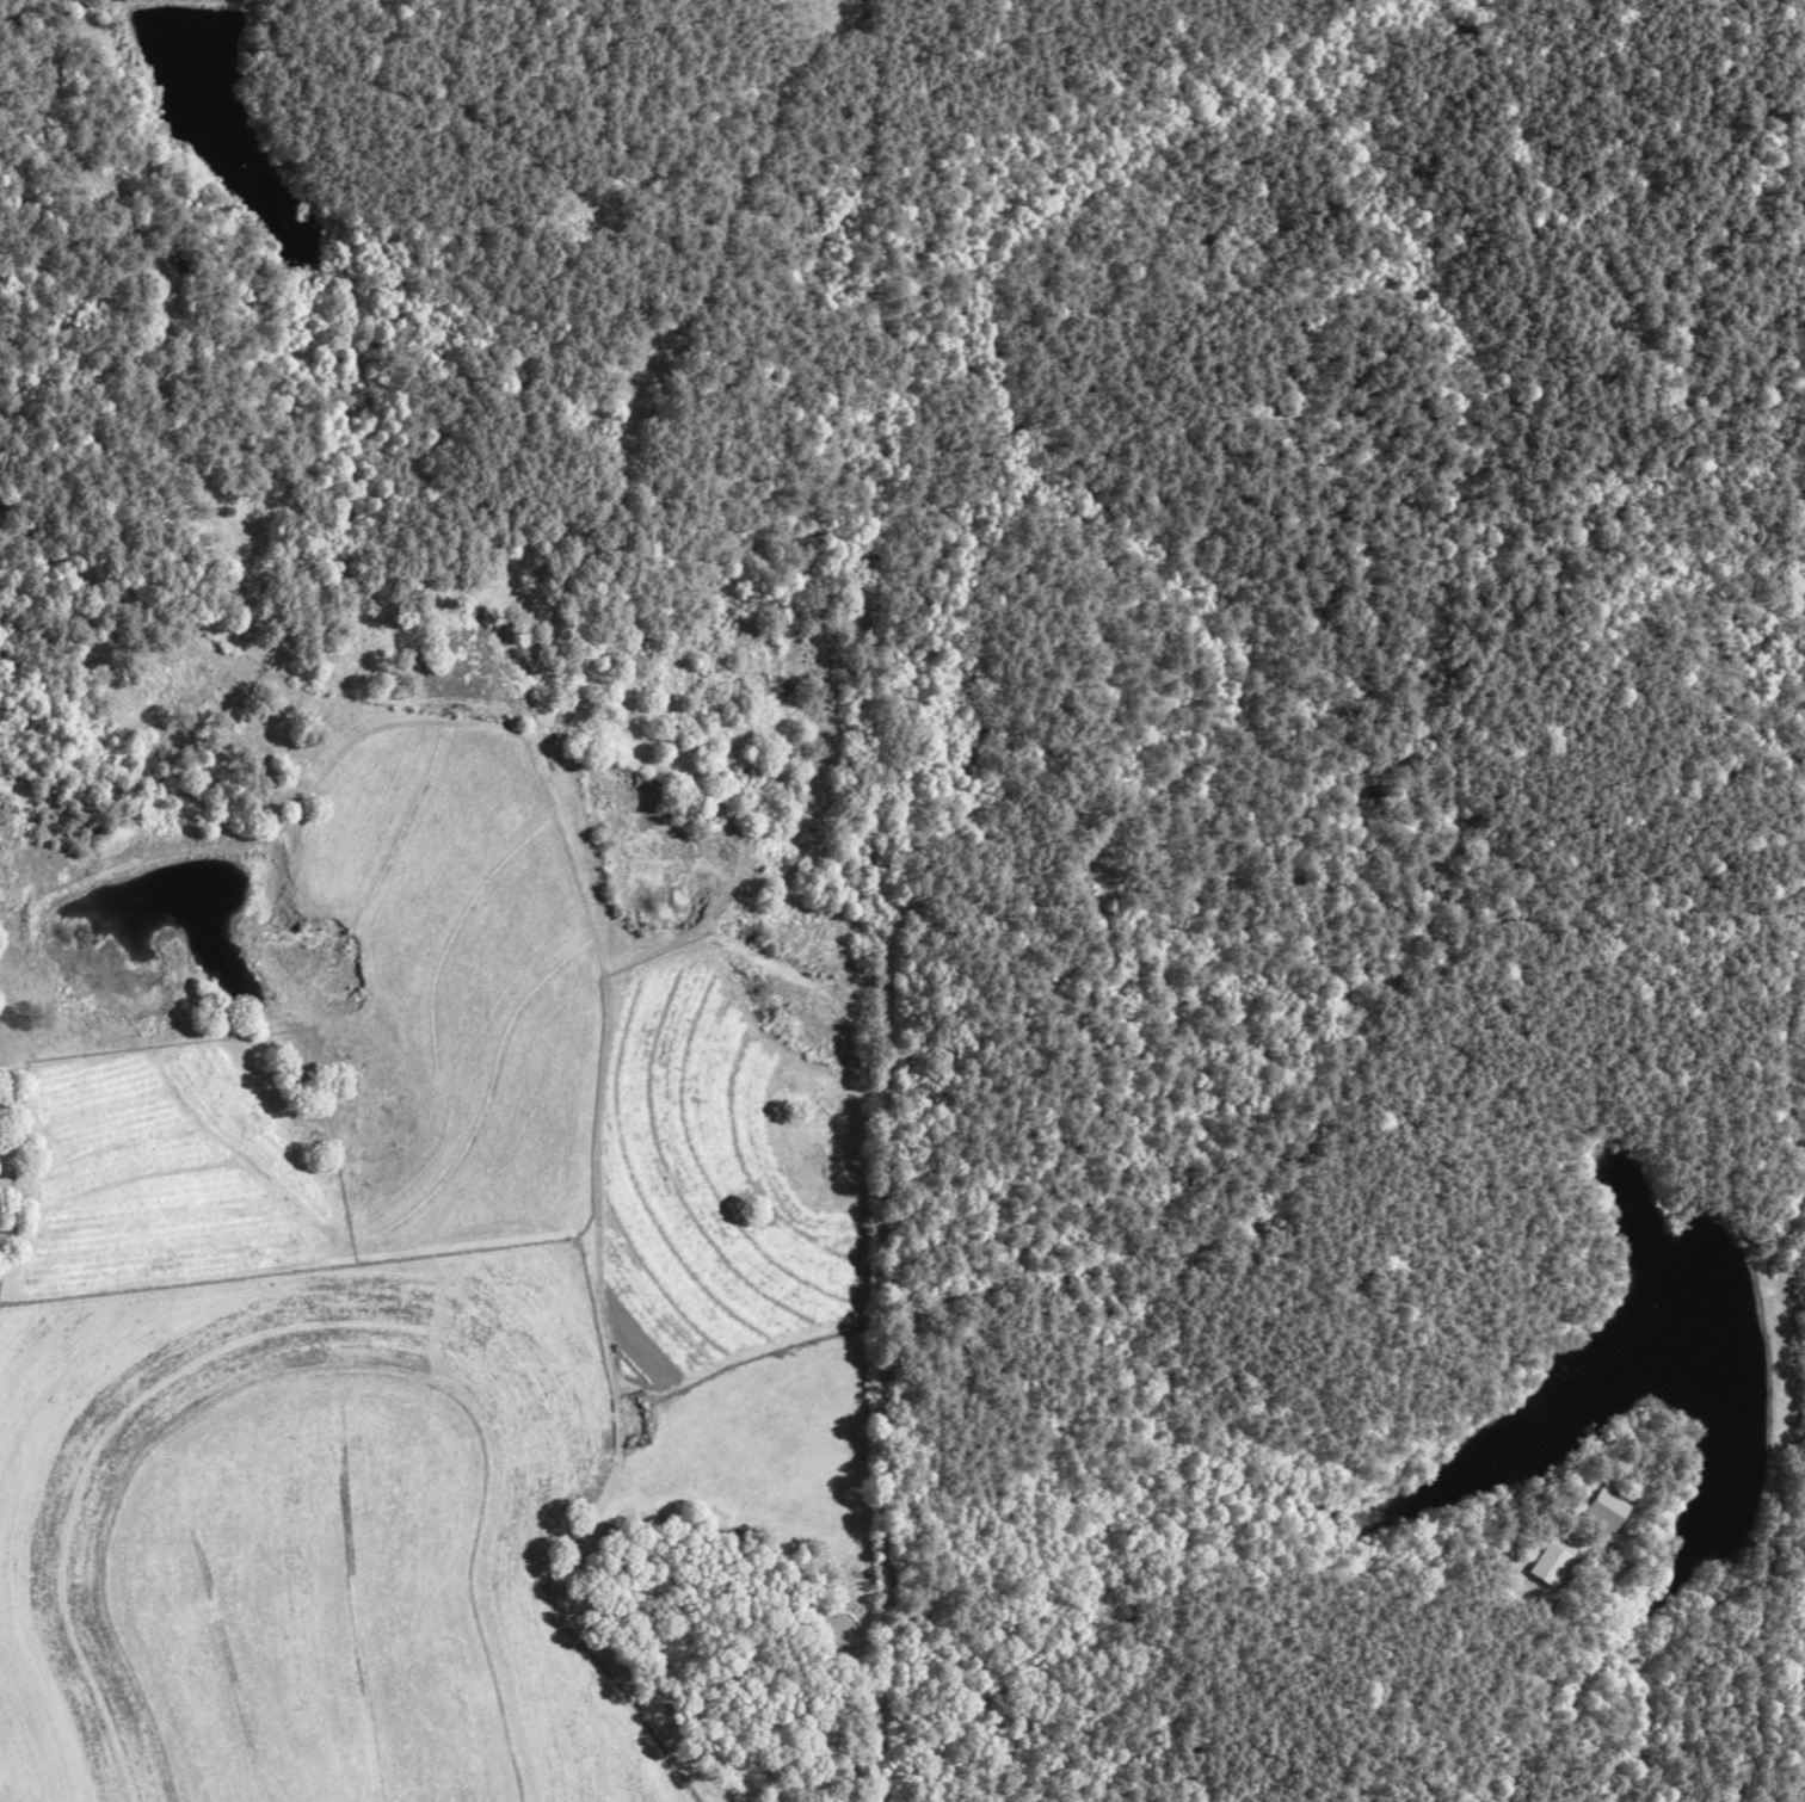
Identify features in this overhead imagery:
road: (1378, 1008)
building: (1601, 1508)
building: (1550, 1562)

